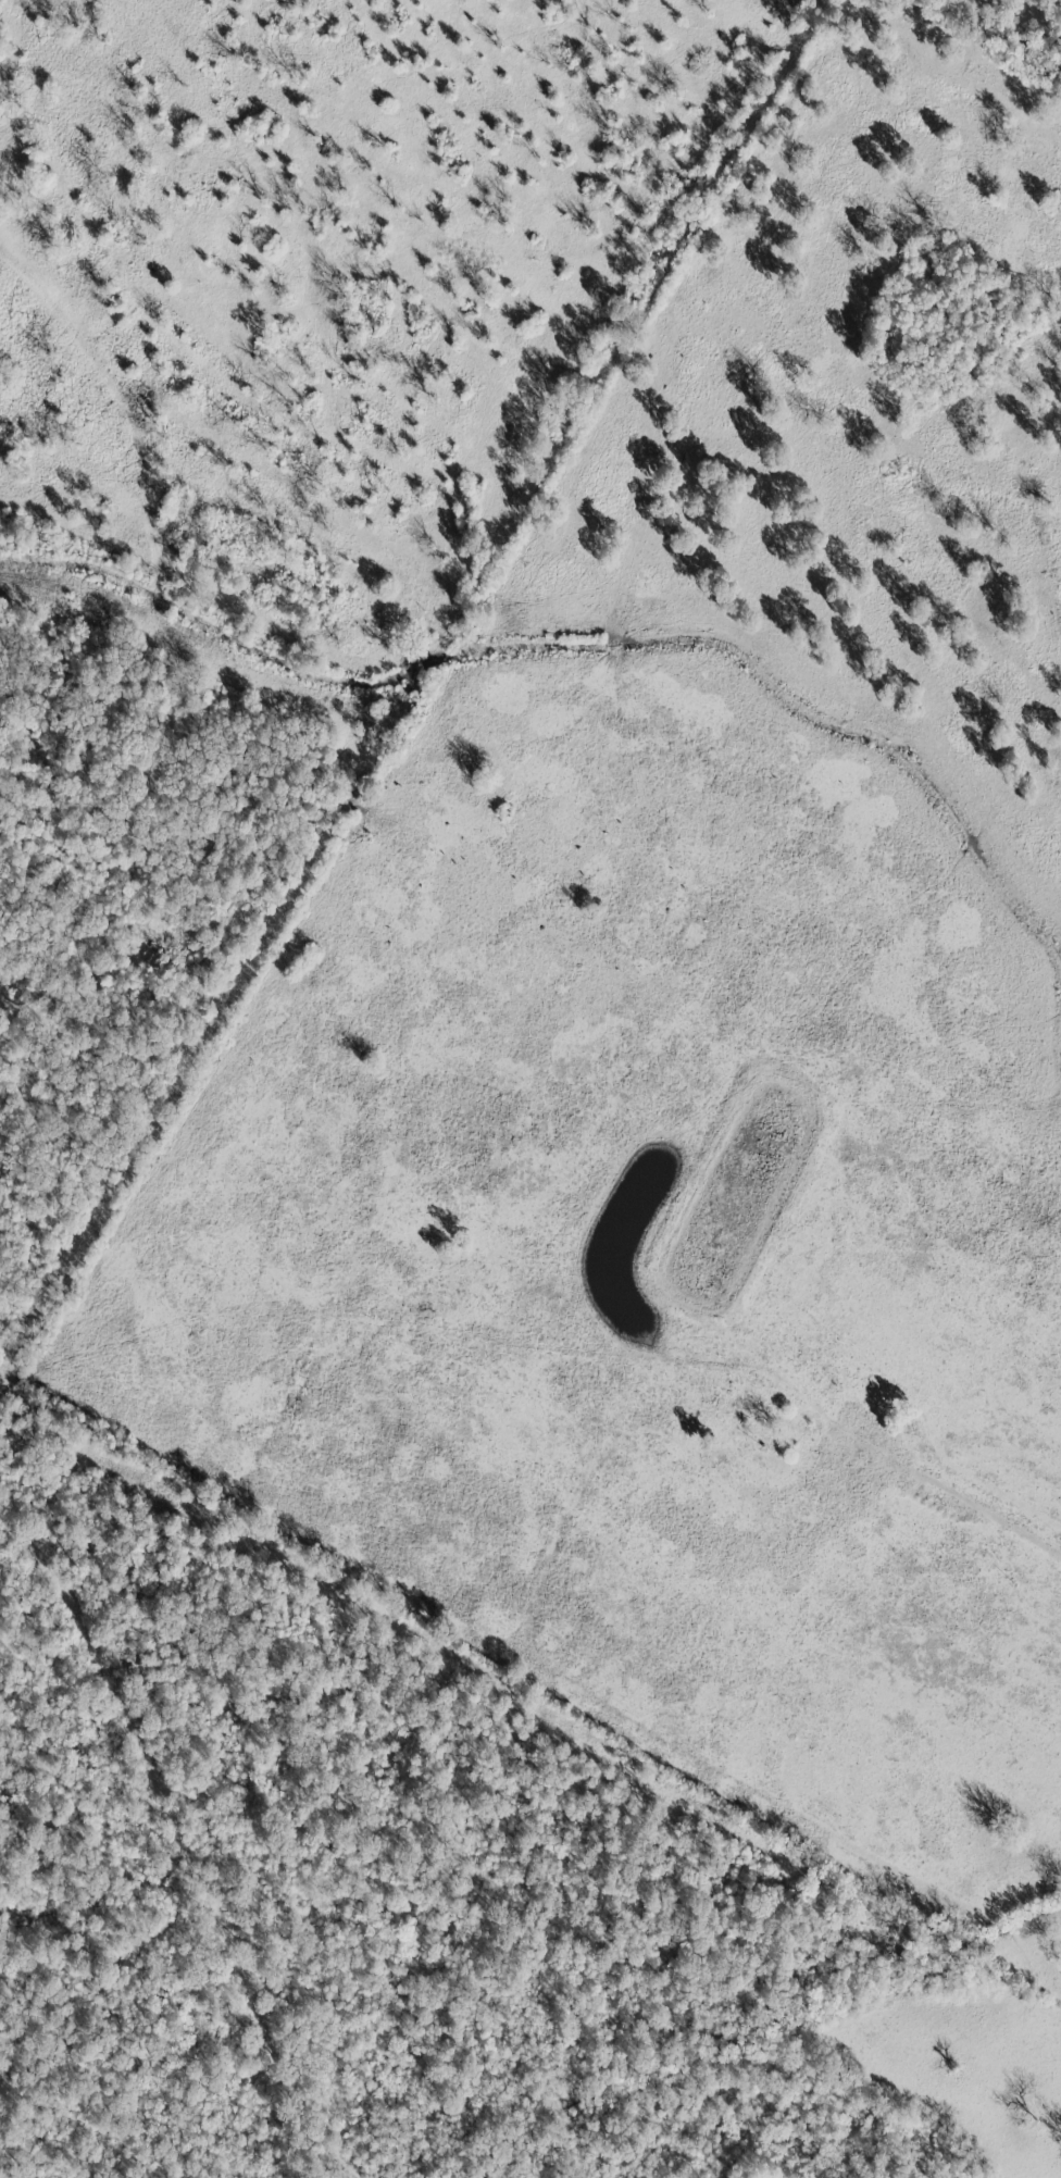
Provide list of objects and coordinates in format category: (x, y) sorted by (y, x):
road: (950, 1495)

